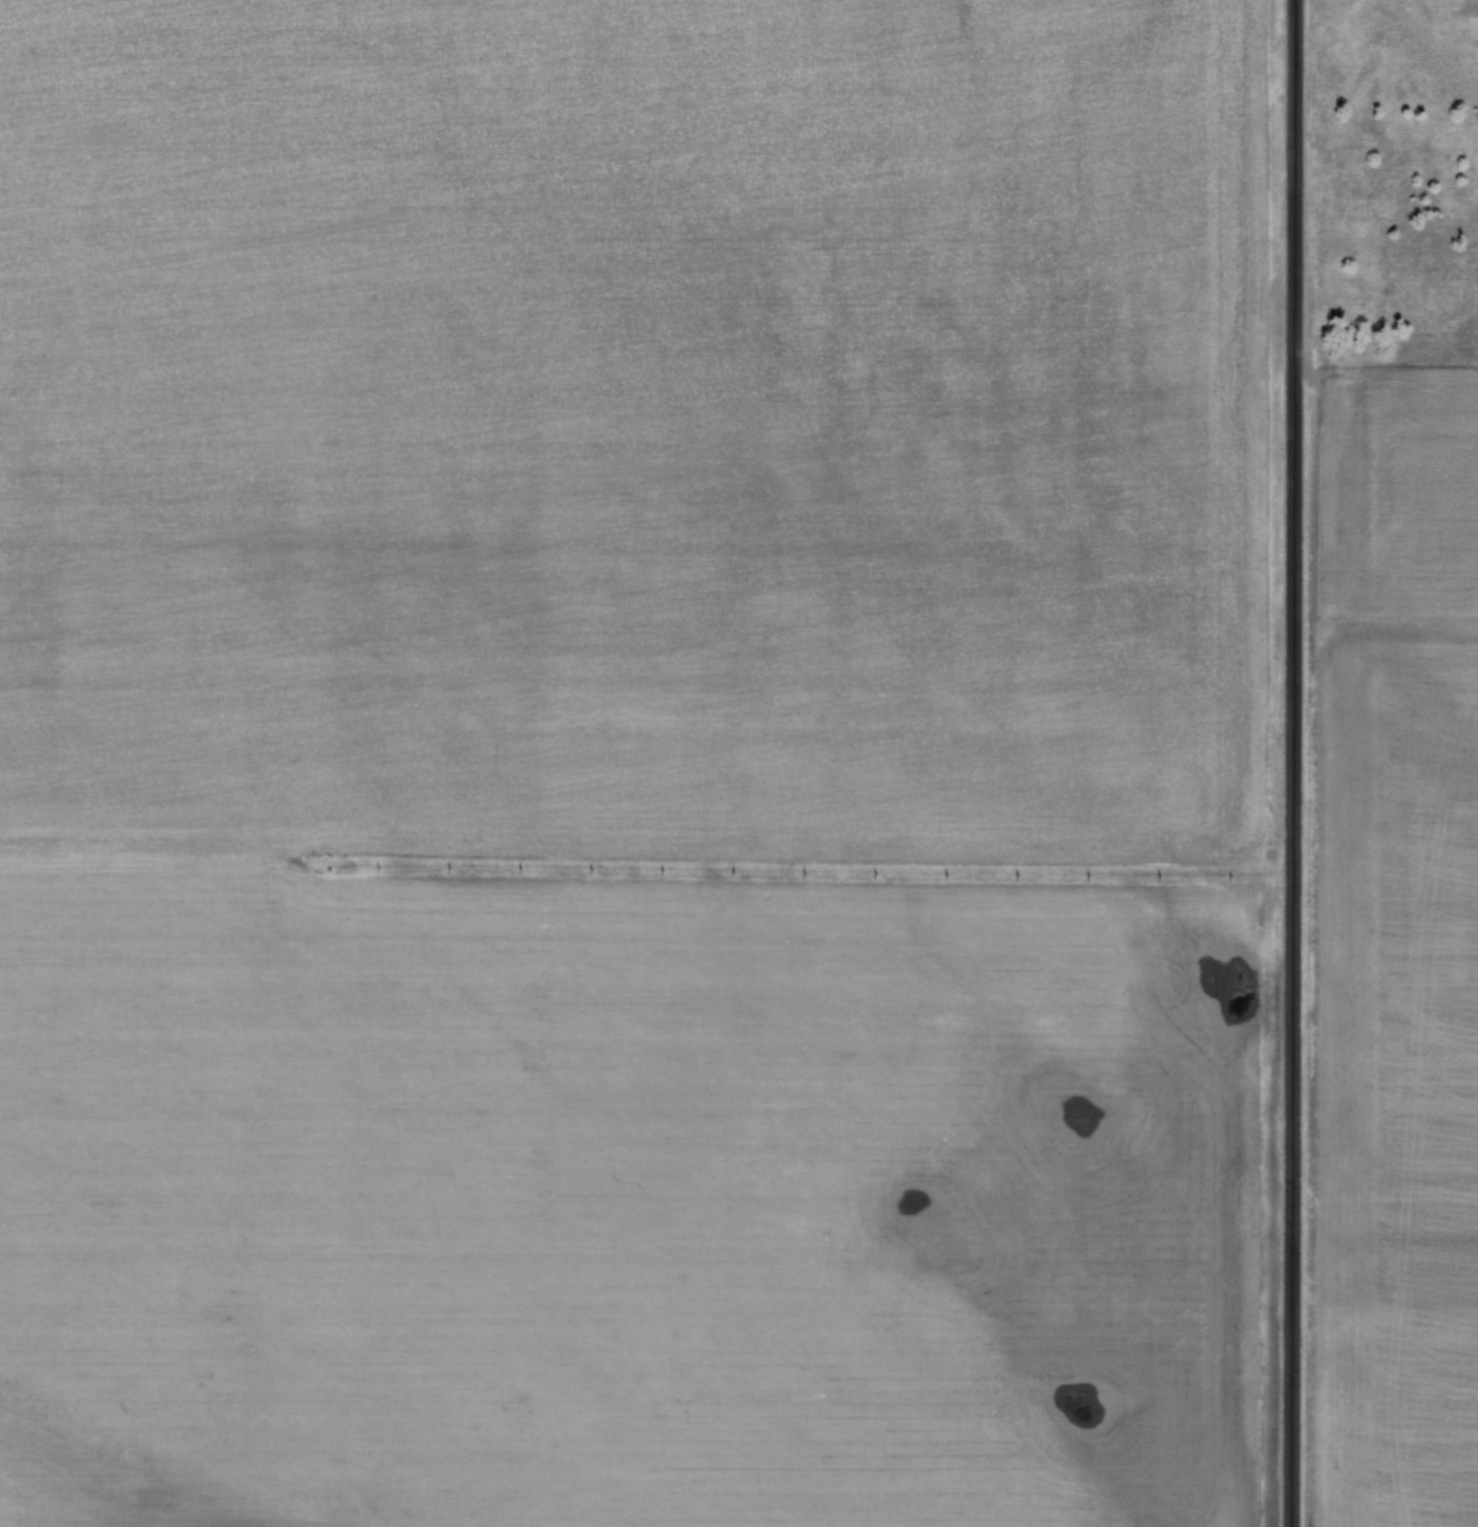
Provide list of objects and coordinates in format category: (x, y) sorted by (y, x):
road: (1290, 763)

